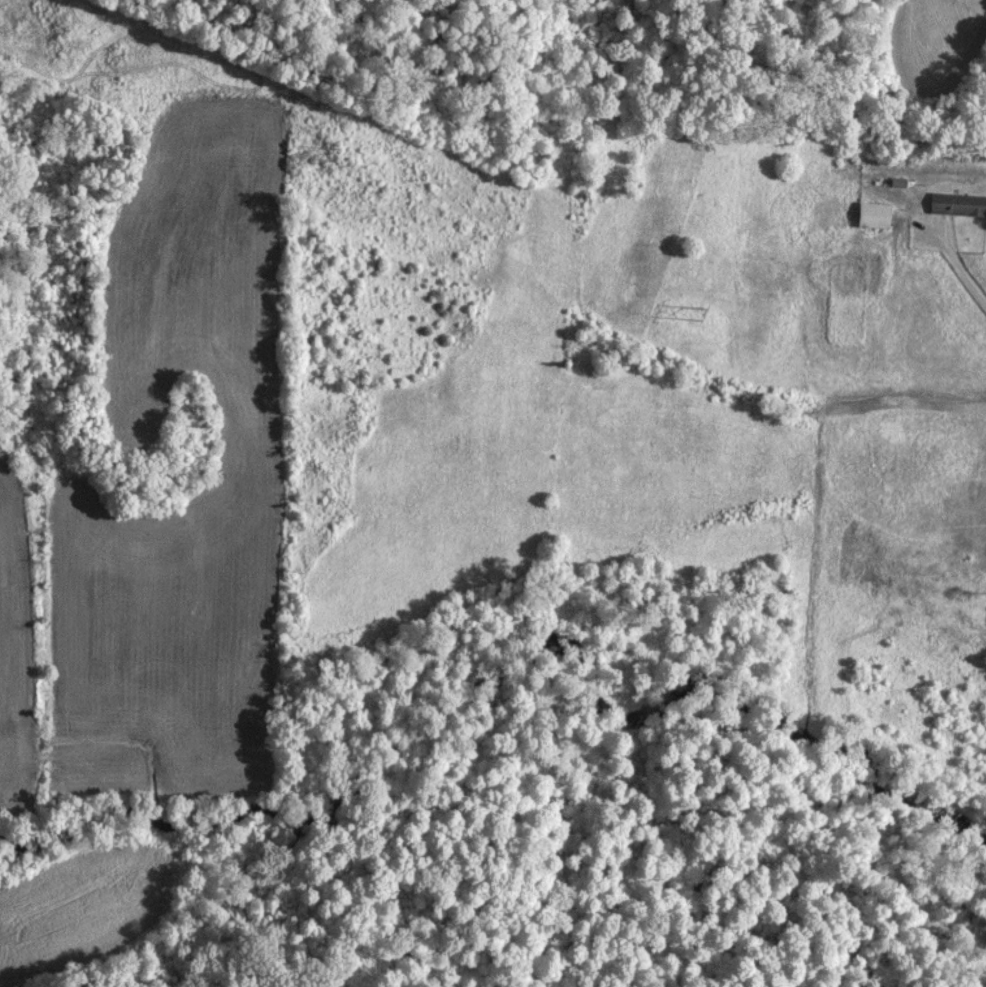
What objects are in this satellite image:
power tower: (332, 153)
building: (956, 203)
building: (871, 214)
road: (960, 265)
power tower: (699, 312)

